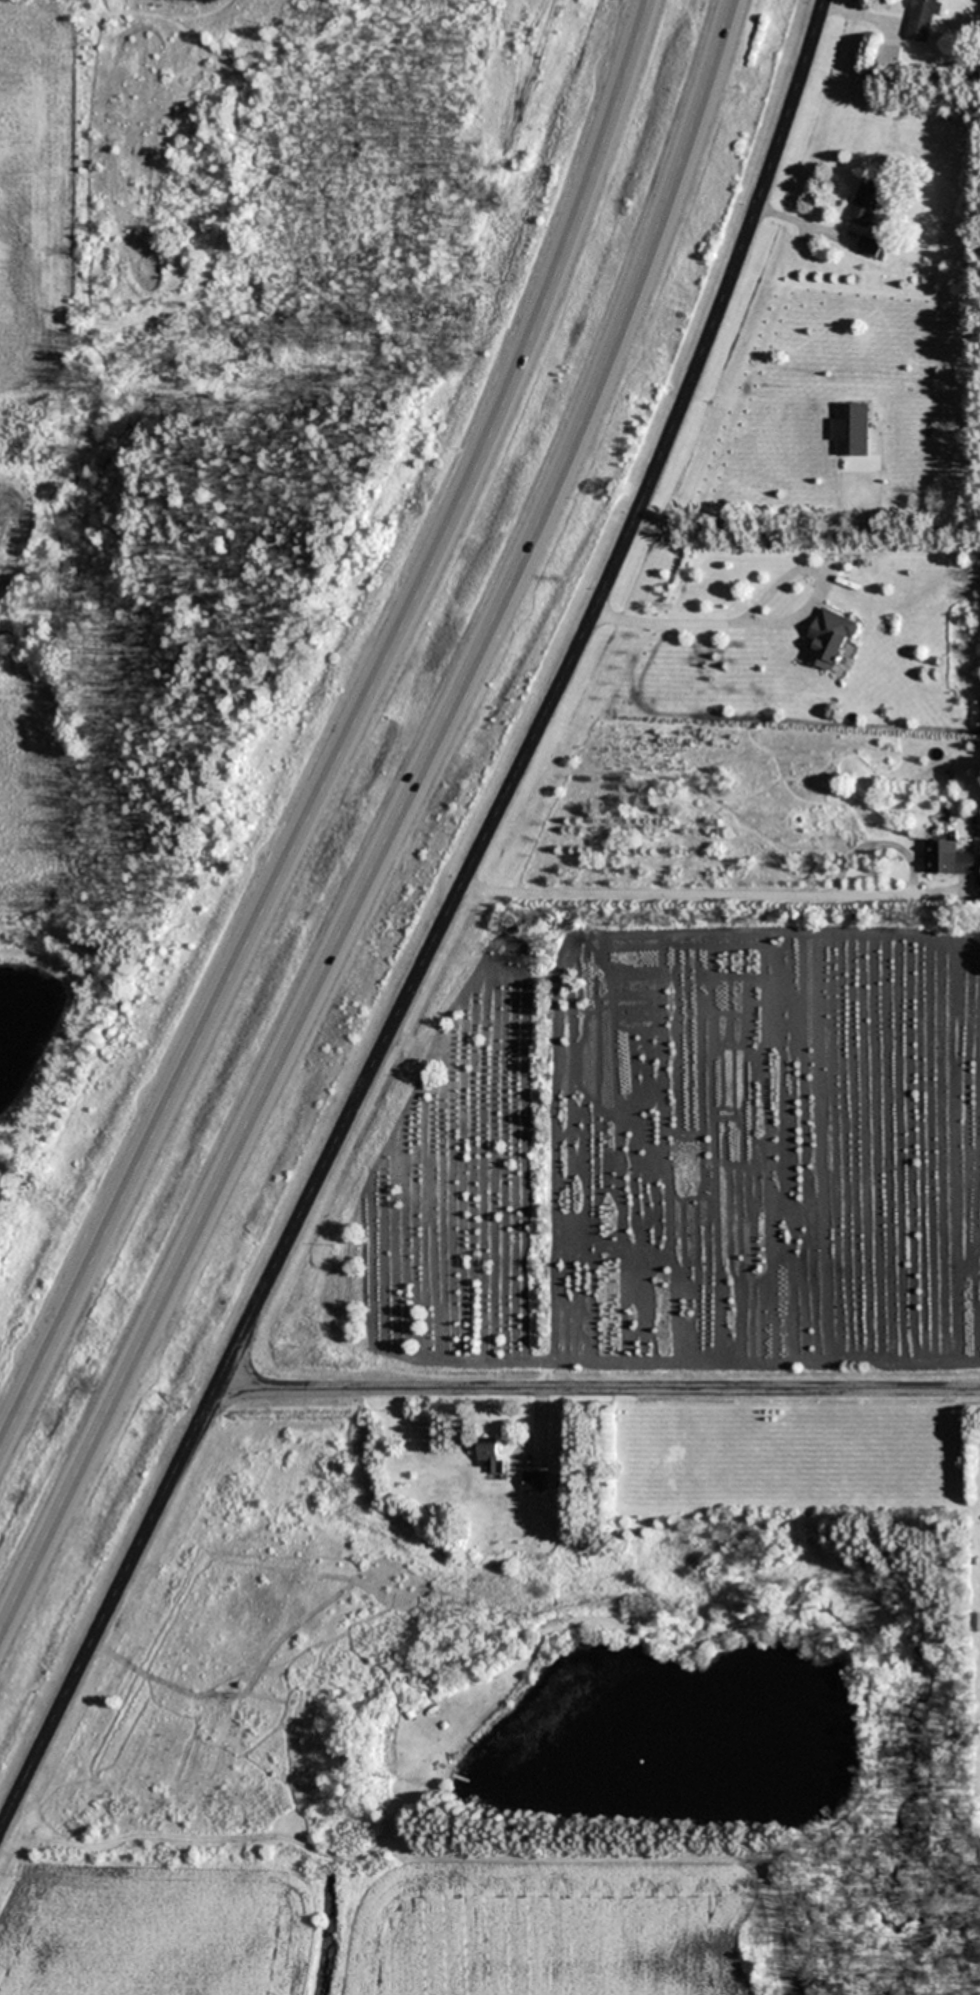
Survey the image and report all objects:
building: (924, 18)
building: (891, 55)
building: (866, 201)
building: (853, 429)
road: (762, 592)
building: (829, 639)
road: (347, 732)
road: (397, 830)
building: (951, 856)
road: (697, 894)
road: (440, 926)
road: (597, 1387)
building: (493, 1455)
building: (534, 1481)

